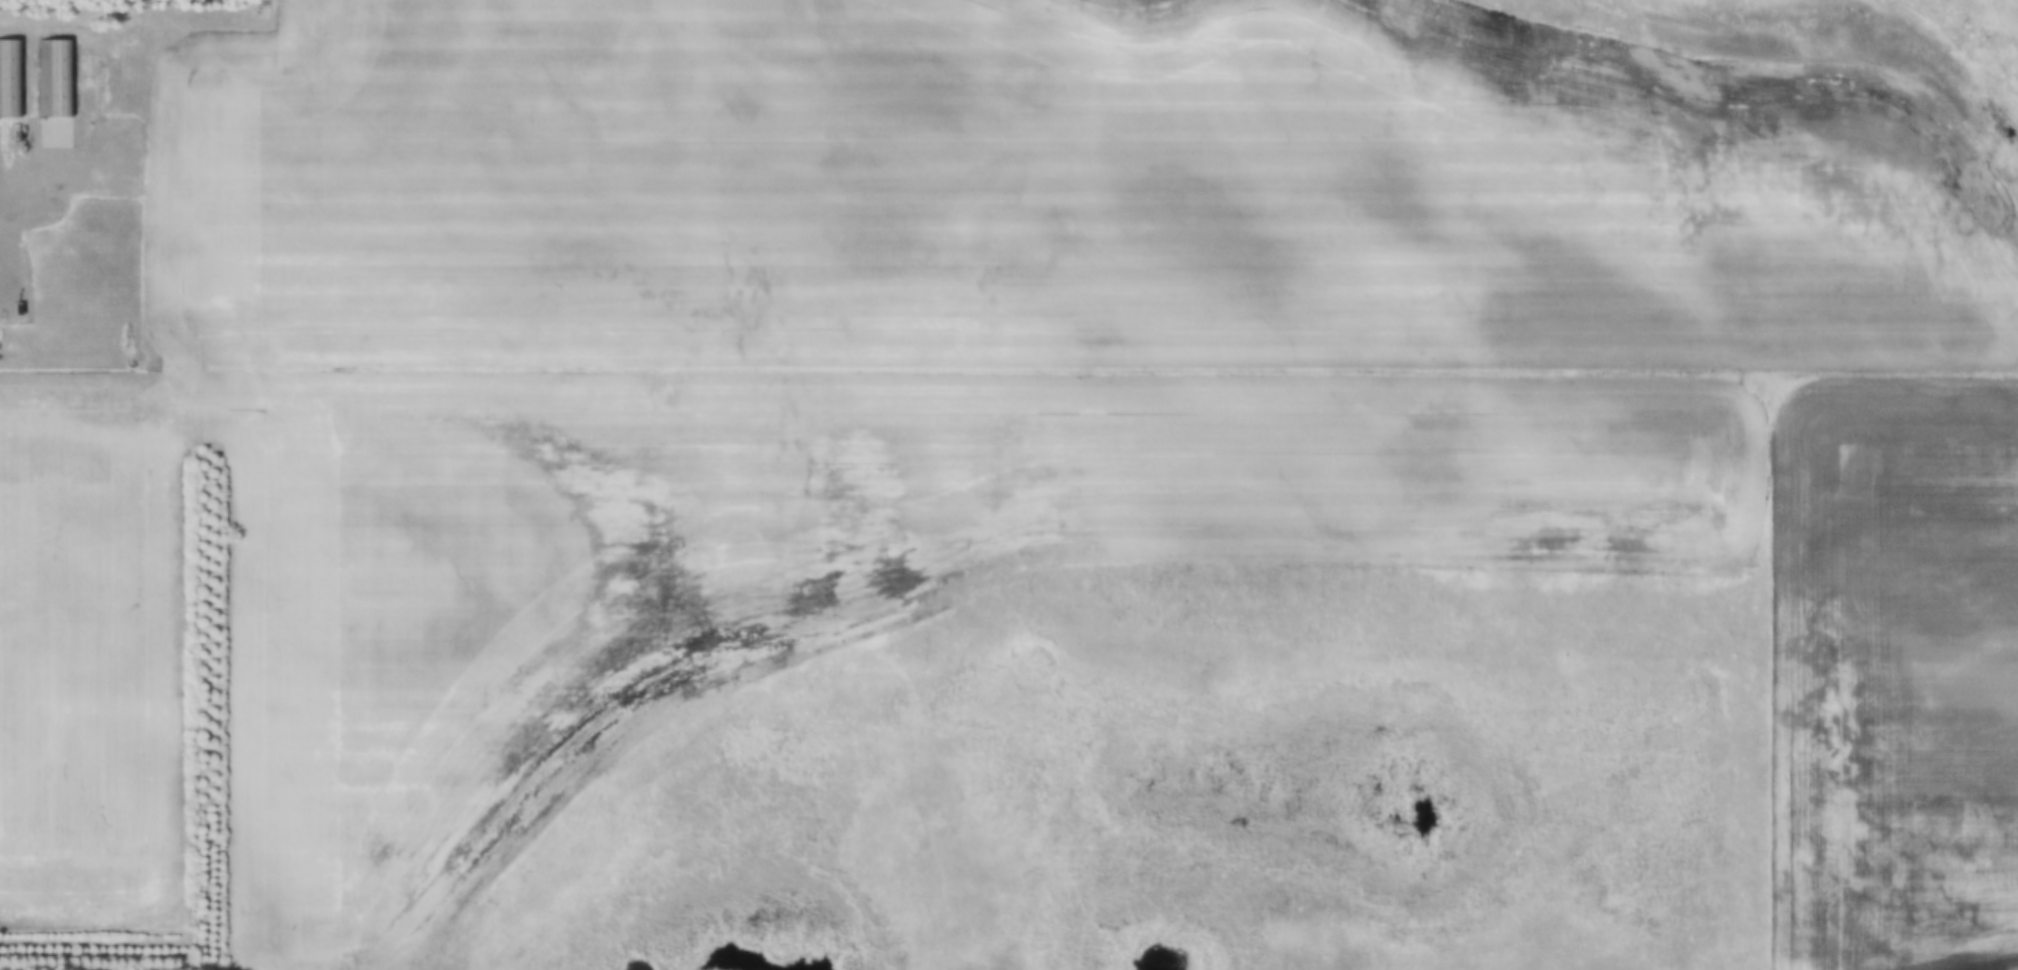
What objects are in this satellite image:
building: (53, 71)
building: (9, 72)
building: (95, 97)
road: (32, 174)

